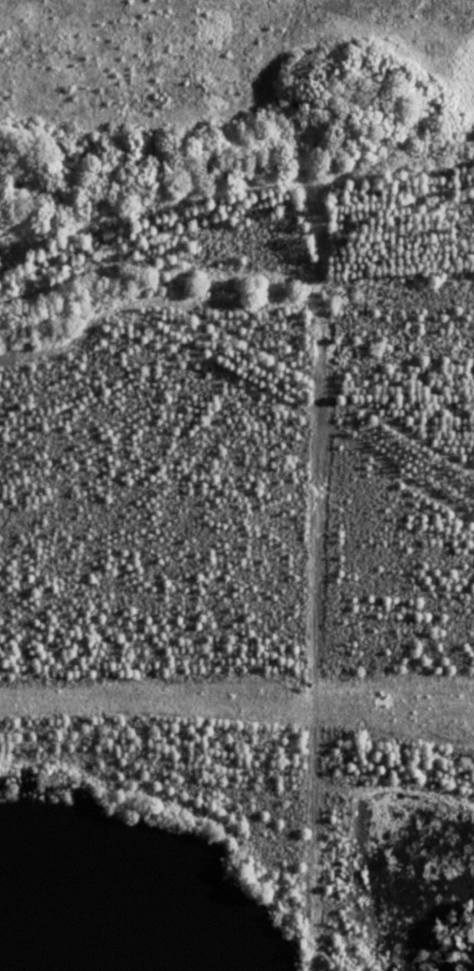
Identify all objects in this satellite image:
road: (145, 131)
road: (314, 482)

